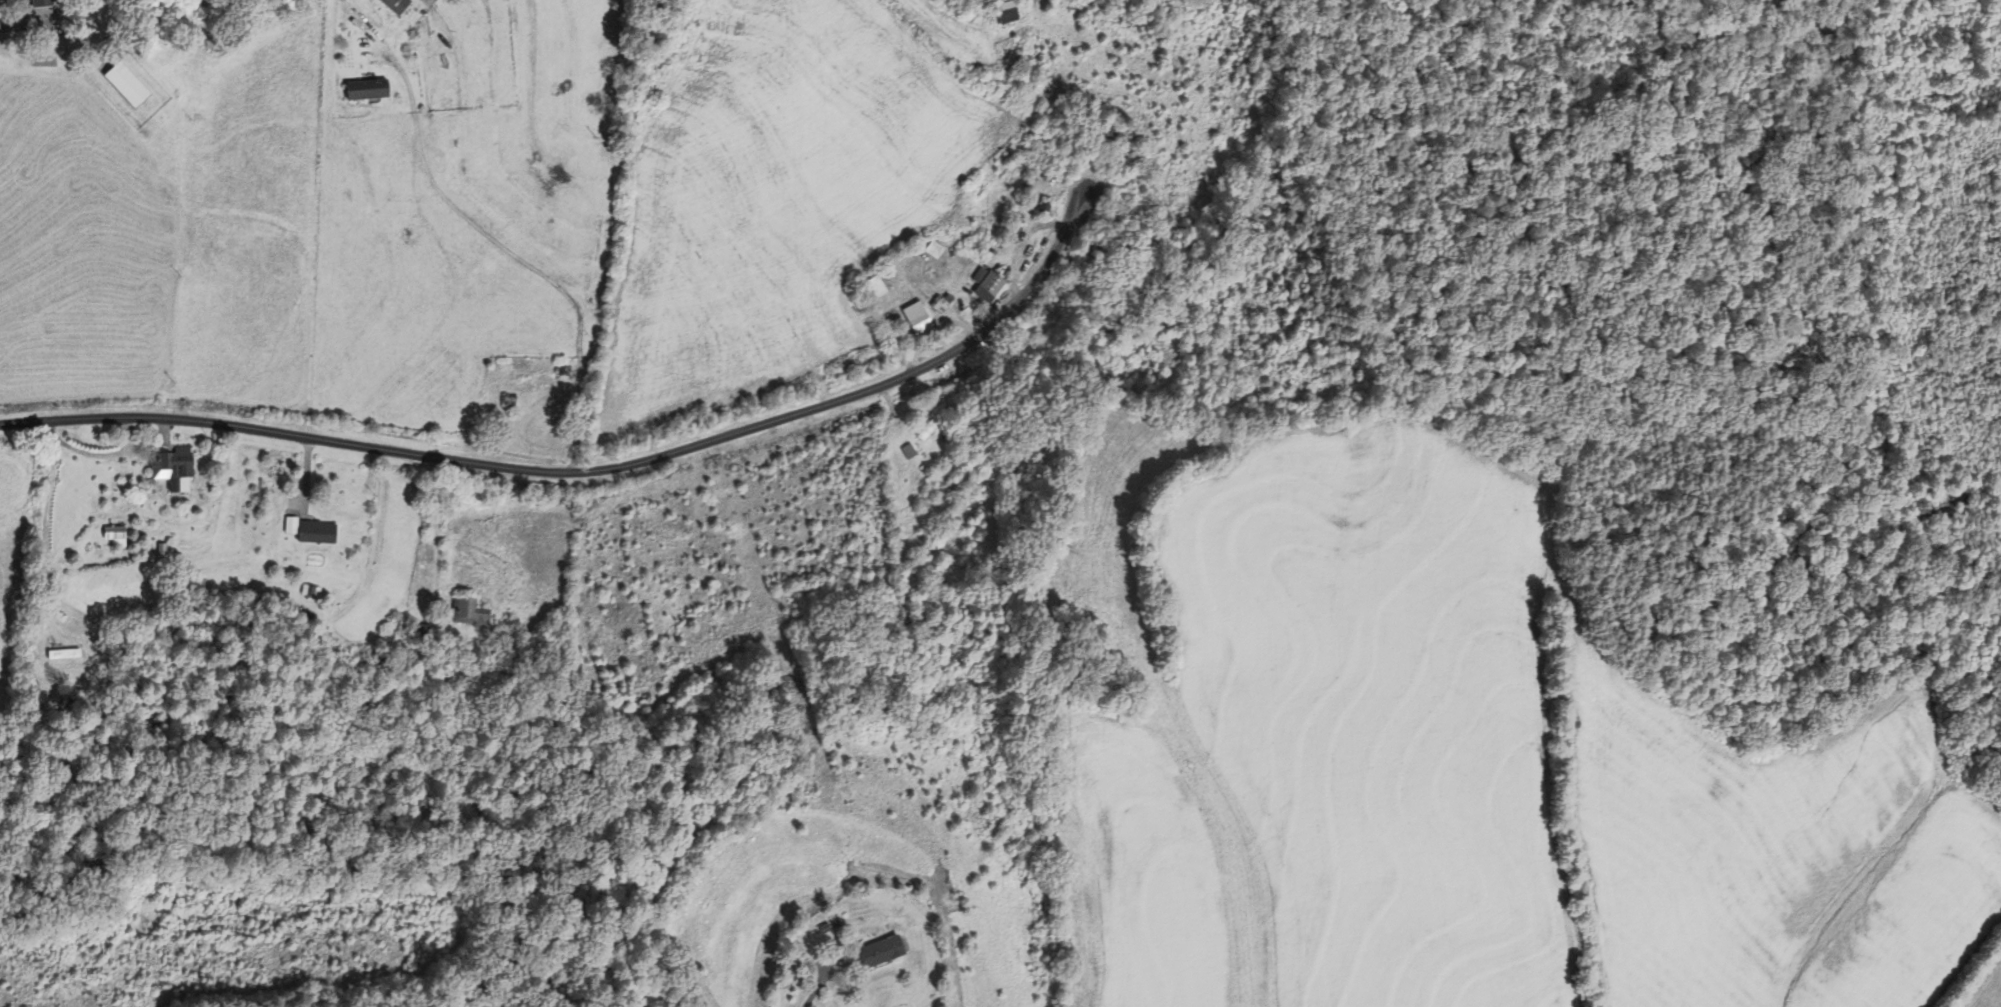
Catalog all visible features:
building: (40, 3)
building: (395, 5)
building: (1006, 12)
building: (126, 84)
building: (367, 89)
building: (1107, 130)
building: (1011, 230)
road: (519, 258)
building: (988, 284)
building: (938, 304)
building: (916, 317)
building: (931, 424)
building: (179, 469)
road: (593, 470)
building: (311, 531)
building: (118, 537)
building: (468, 612)
building: (392, 628)
building: (418, 629)
building: (67, 654)
building: (450, 676)
building: (879, 952)
road: (796, 993)

